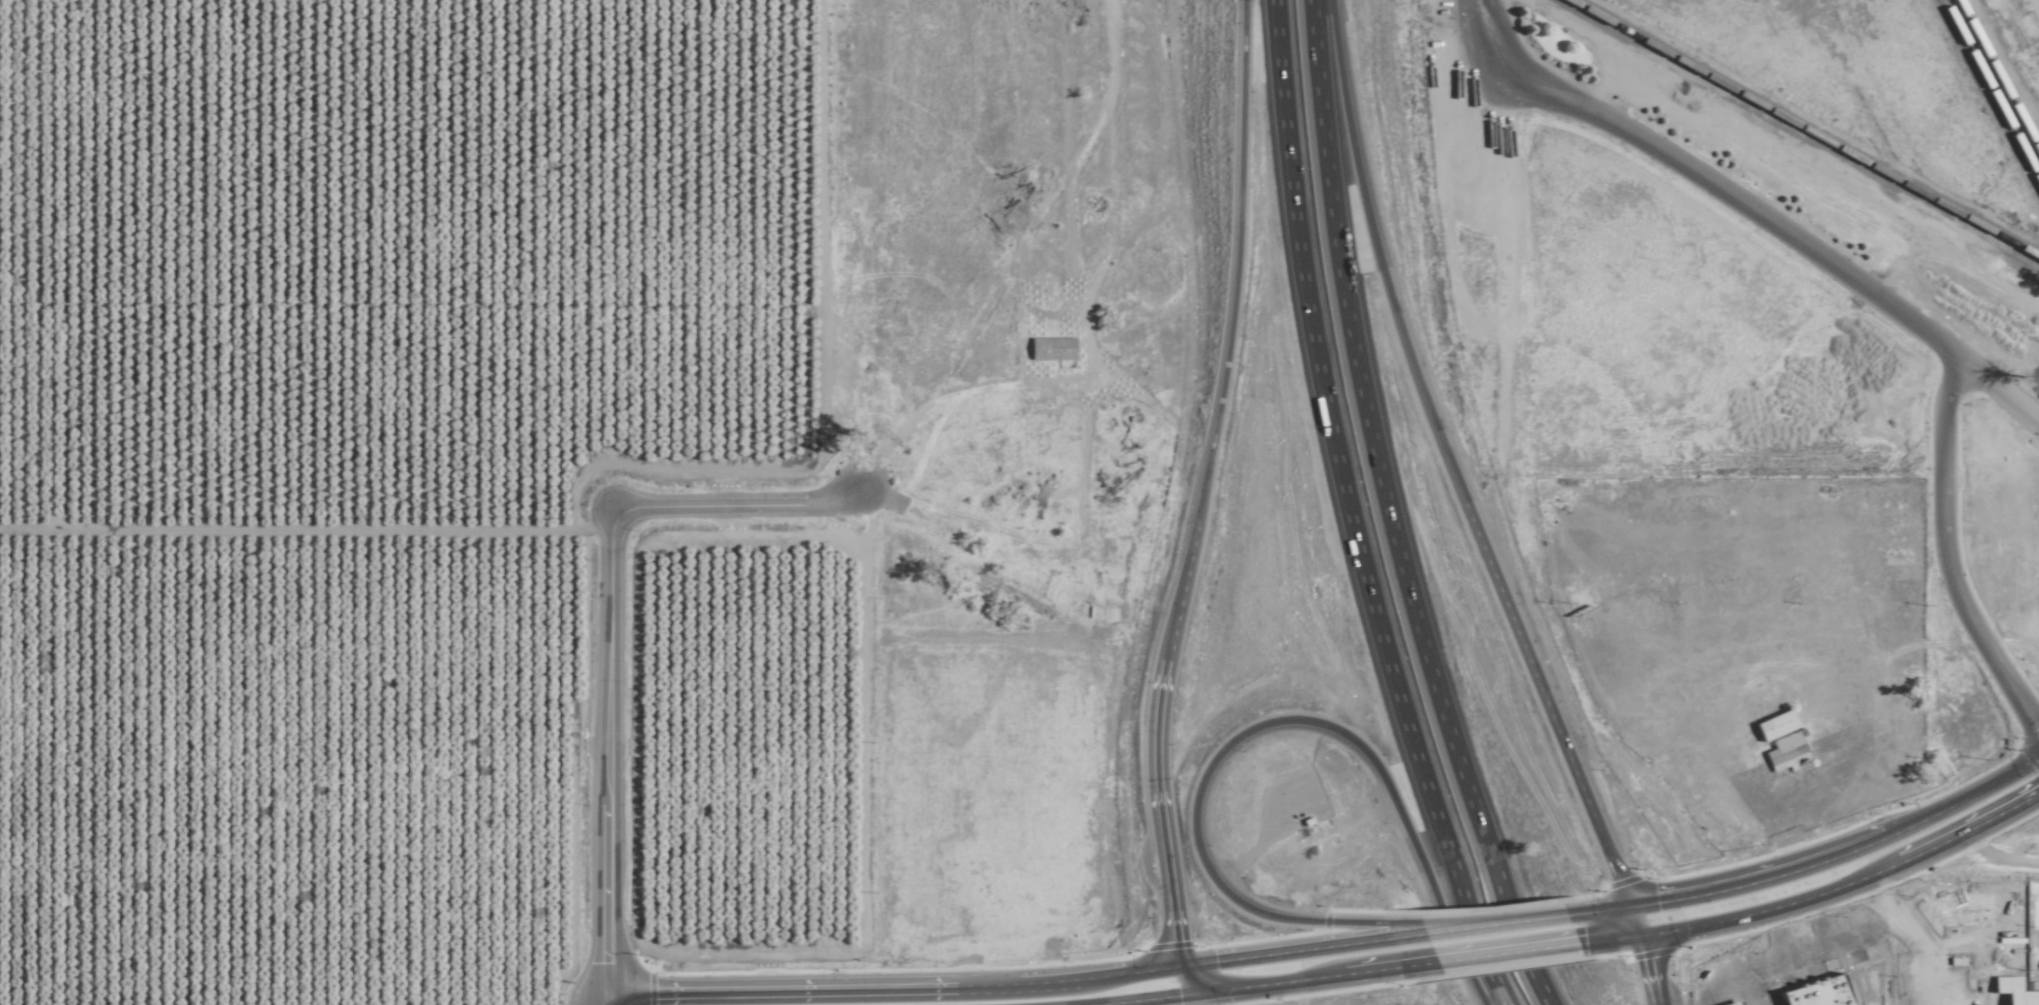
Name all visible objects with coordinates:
road: (1480, 22)
railway: (1998, 75)
railway: (1990, 90)
railway: (1803, 128)
road: (1769, 222)
building: (1048, 347)
road: (1447, 461)
road: (1201, 484)
building: (1631, 500)
building: (1656, 500)
road: (1342, 512)
road: (1389, 512)
building: (2036, 522)
road: (303, 527)
road: (1946, 556)
building: (1760, 570)
building: (1994, 577)
road: (2008, 626)
road: (607, 634)
building: (1768, 638)
building: (1709, 664)
building: (1666, 684)
building: (1873, 692)
road: (1271, 722)
building: (1771, 725)
building: (1641, 729)
building: (1798, 738)
building: (1878, 743)
building: (1690, 775)
road: (1819, 779)
road: (1979, 790)
building: (1845, 792)
building: (1721, 808)
road: (1954, 833)
road: (1775, 873)
road: (1754, 912)
road: (1475, 918)
road: (1632, 919)
road: (1519, 920)
road: (1611, 937)
road: (1295, 949)
road: (1504, 951)
road: (1376, 969)
road: (1645, 969)
road: (1203, 983)
road: (893, 986)
road: (1206, 991)
road: (606, 1004)
road: (609, 1004)

